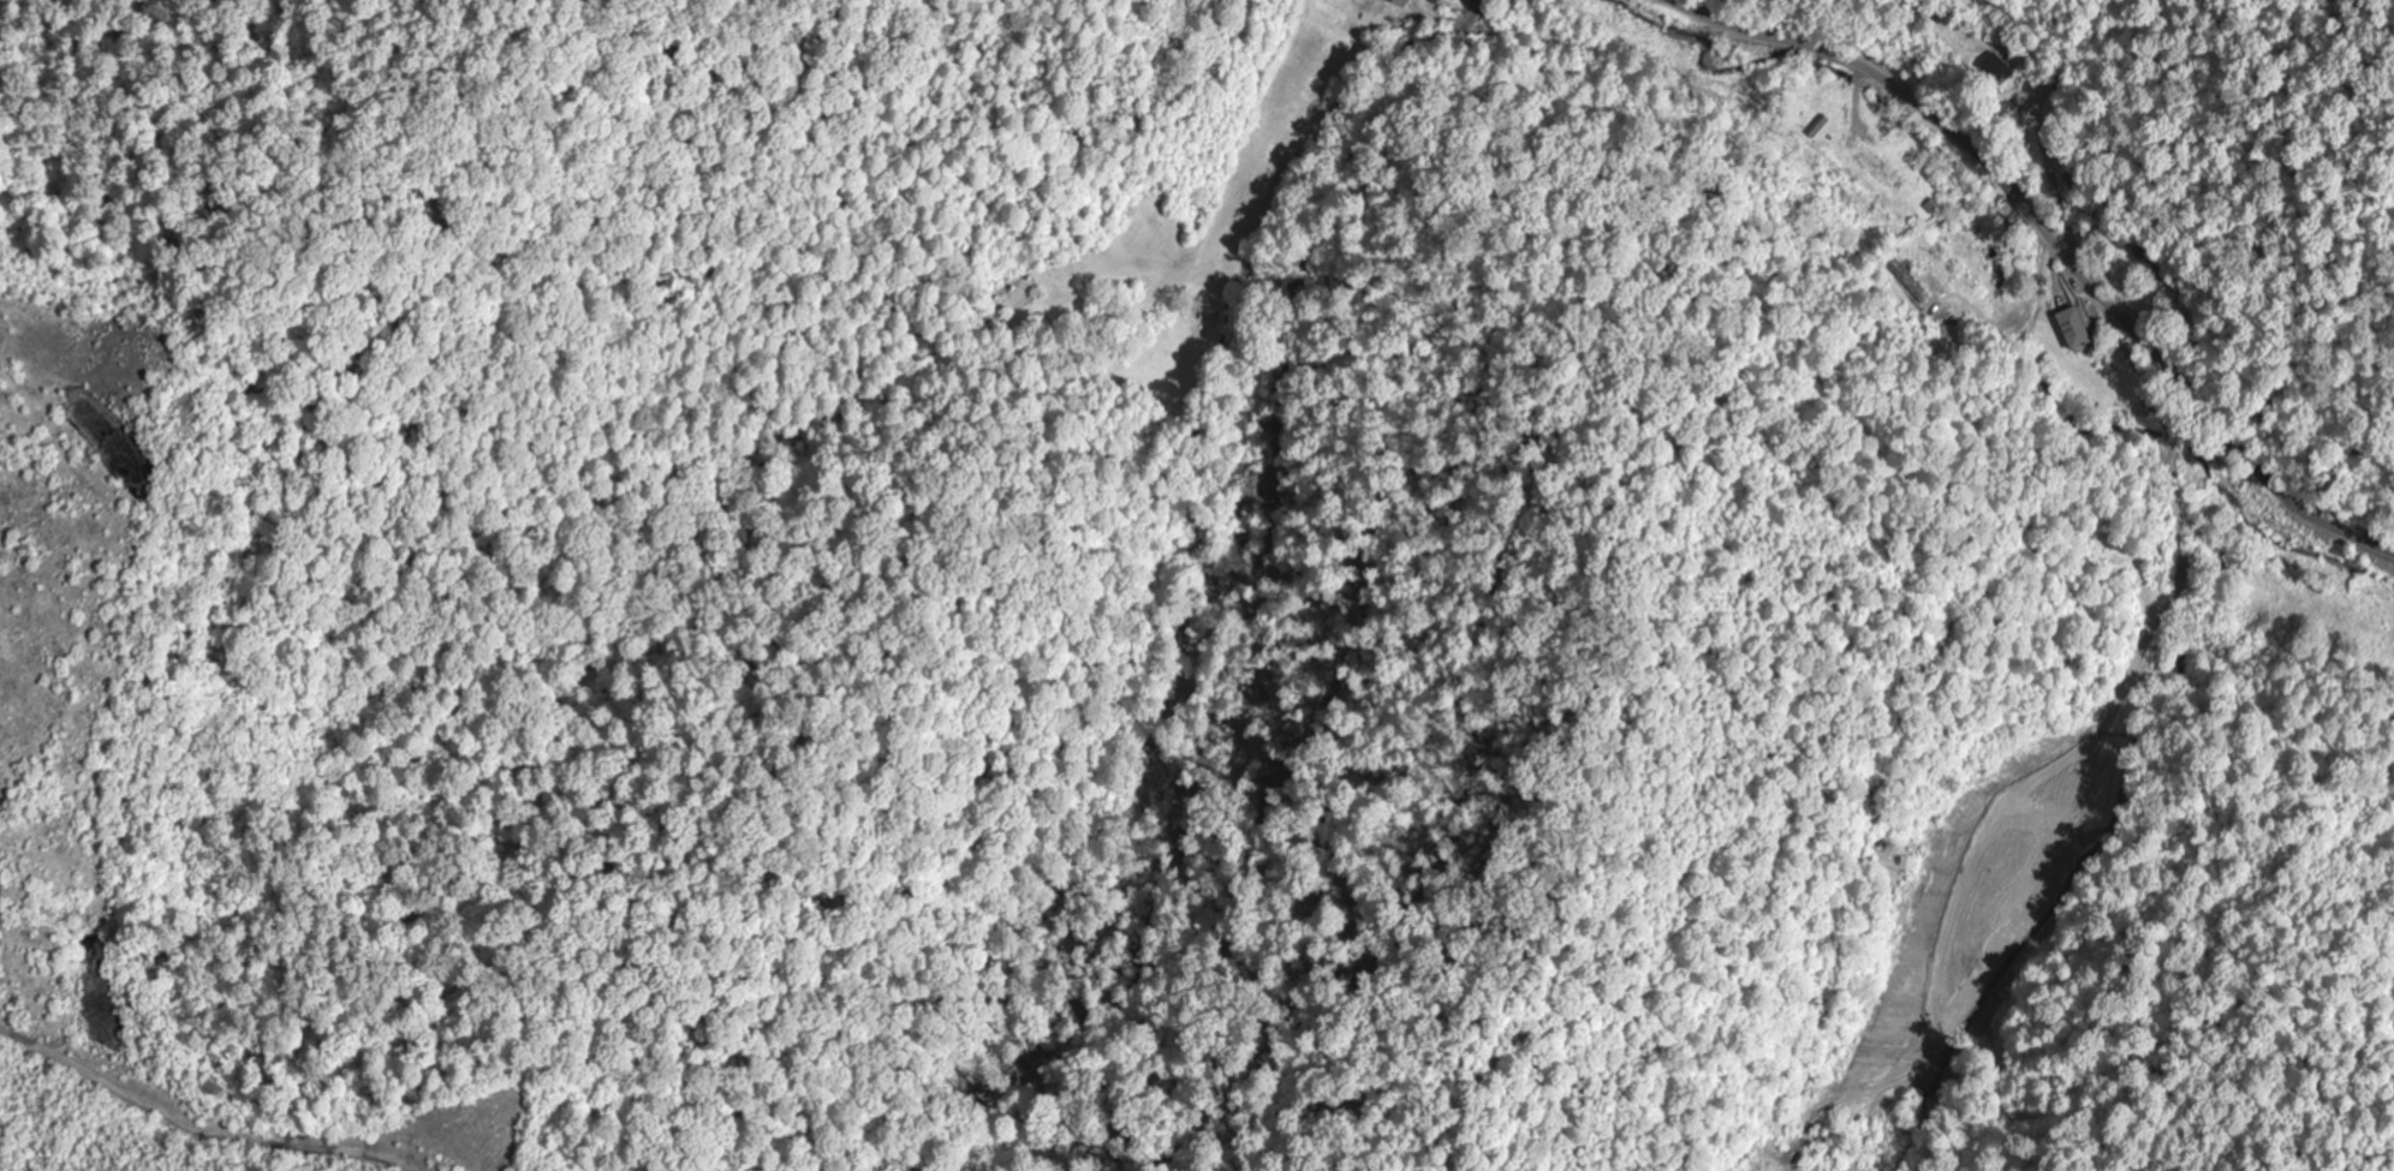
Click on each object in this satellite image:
building: (1389, 1)
building: (1995, 71)
building: (1878, 171)
road: (2055, 241)
building: (1908, 281)
building: (2074, 328)

